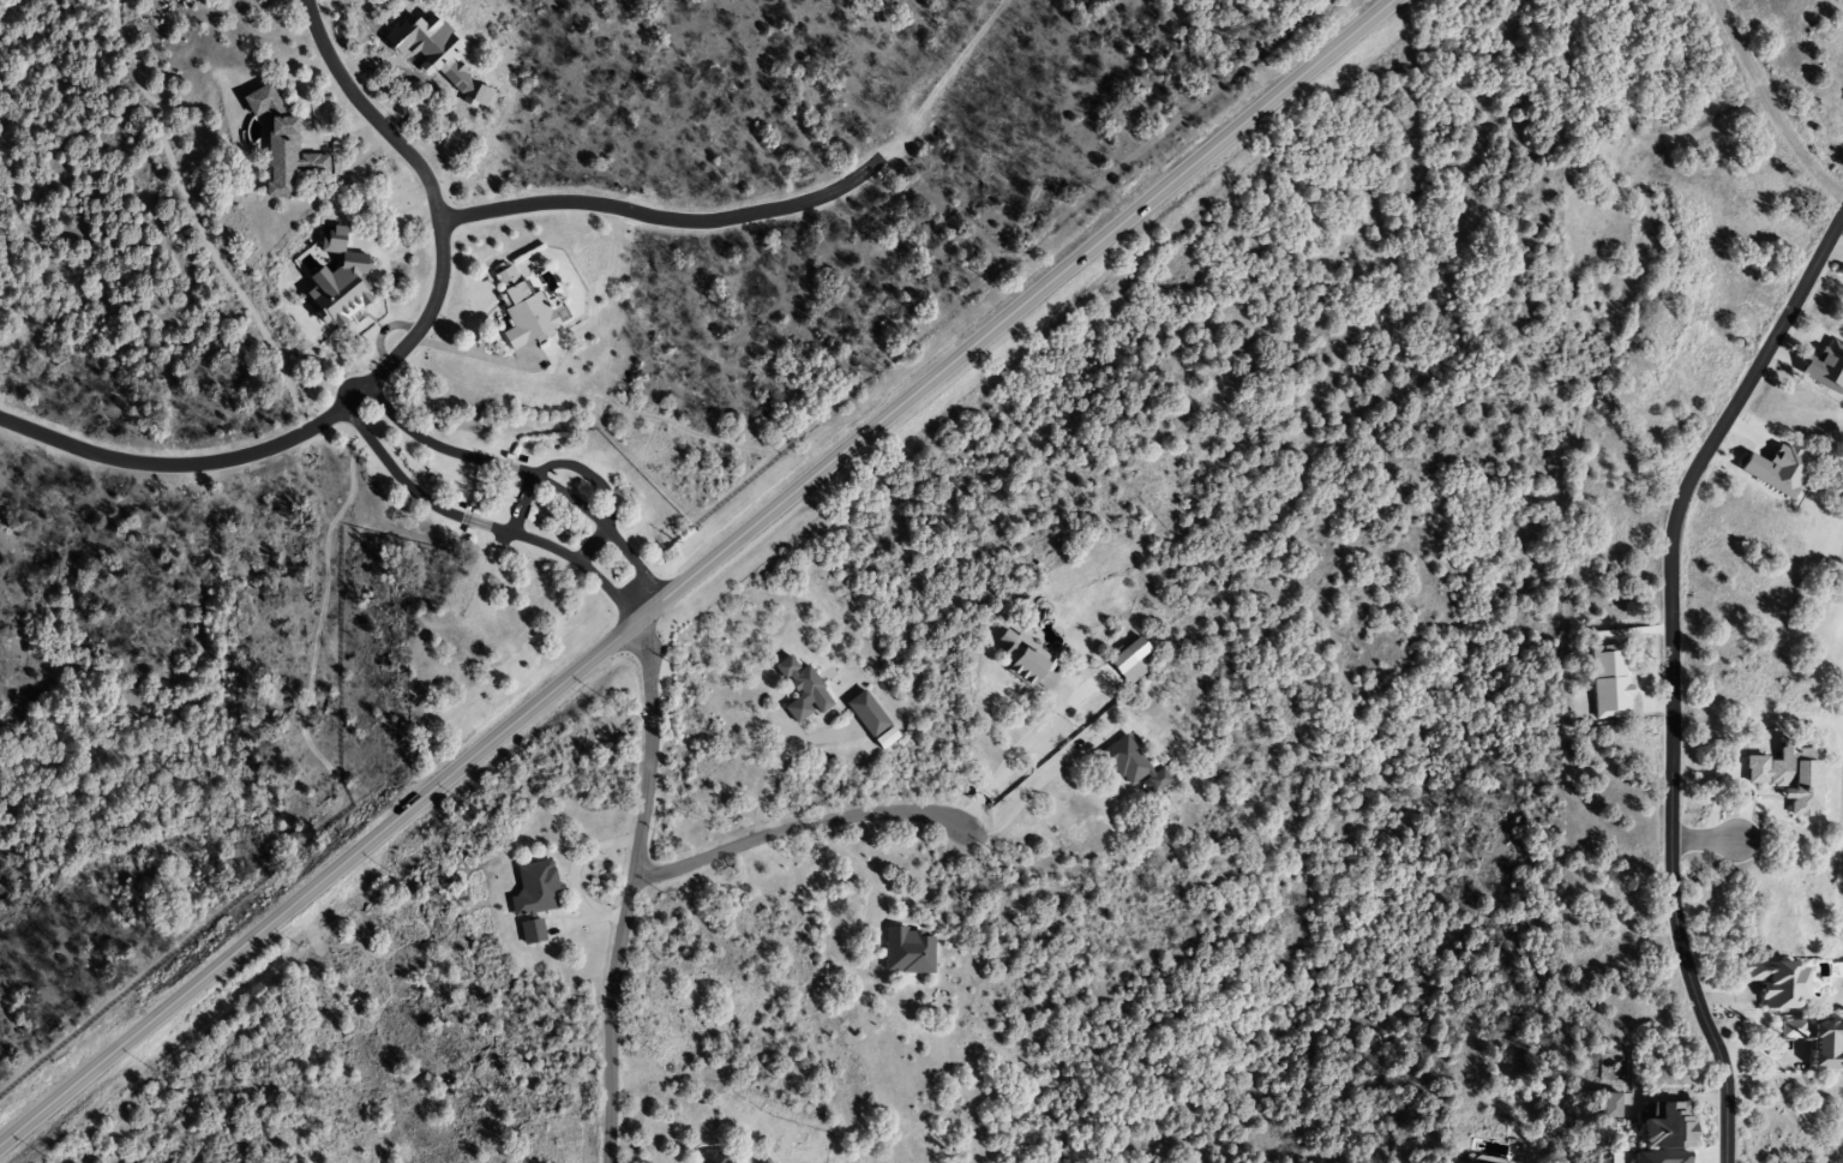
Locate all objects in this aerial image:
road: (1769, 104)
building: (280, 144)
road: (431, 194)
road: (666, 217)
building: (337, 292)
building: (520, 312)
road: (181, 466)
road: (696, 571)
road: (653, 605)
park: (1831, 621)
building: (1027, 665)
road: (1670, 670)
building: (802, 690)
building: (865, 713)
road: (648, 750)
building: (1131, 765)
road: (802, 823)
road: (1704, 839)
building: (532, 888)
building: (529, 930)
building: (906, 949)
building: (1772, 982)
road: (610, 1019)
building: (1814, 1039)
building: (1609, 1105)
building: (1662, 1125)
building: (715, 1156)

